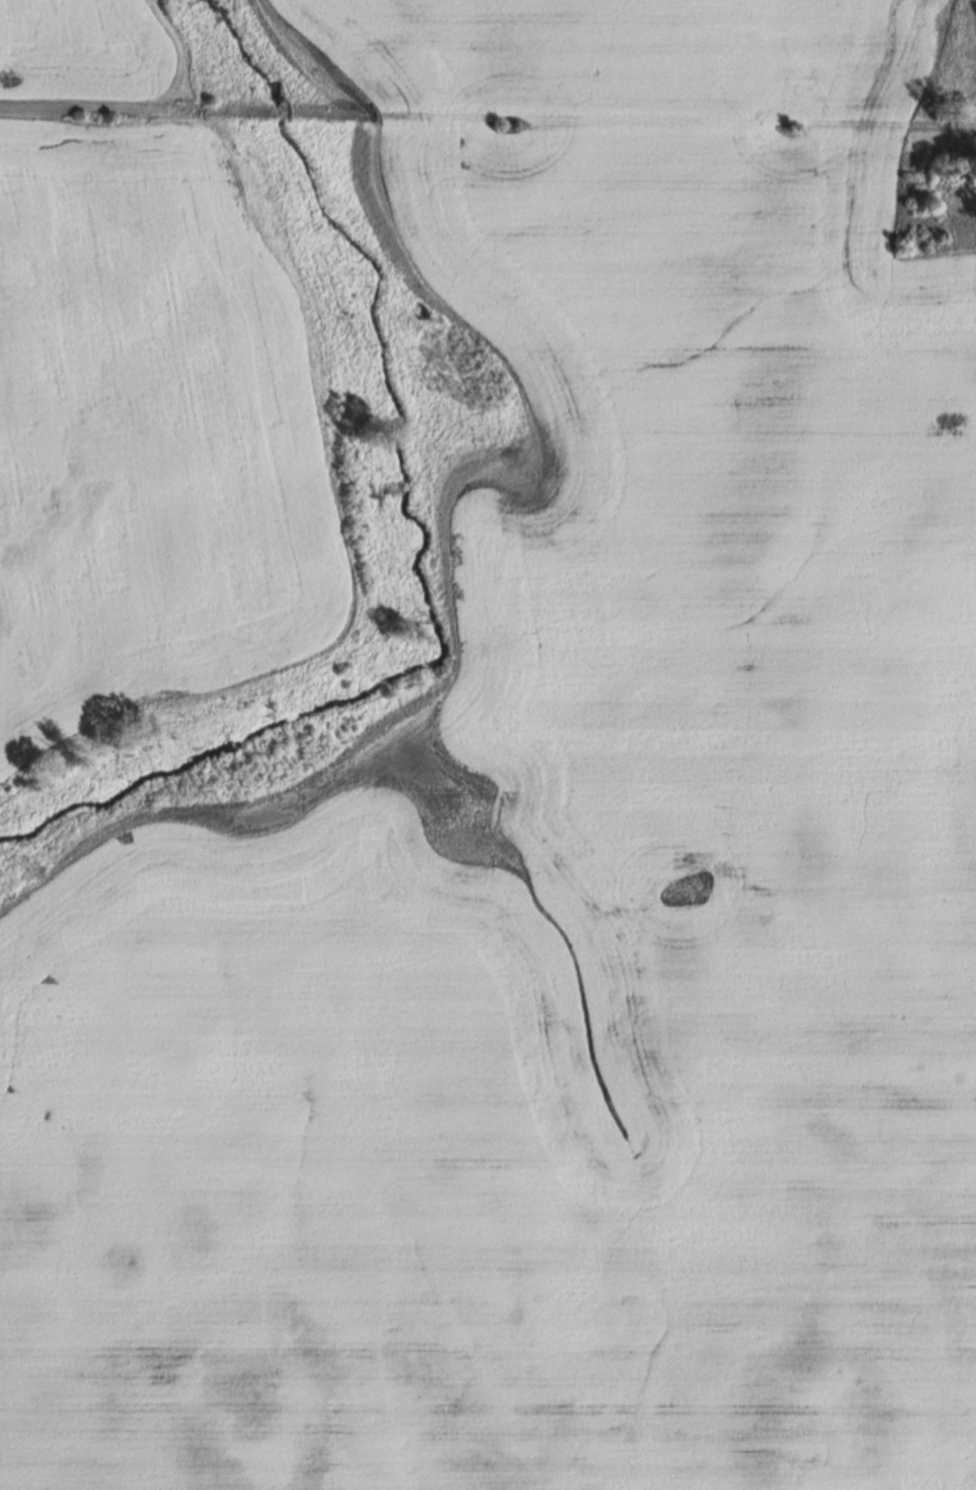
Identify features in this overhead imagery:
road: (487, 116)

